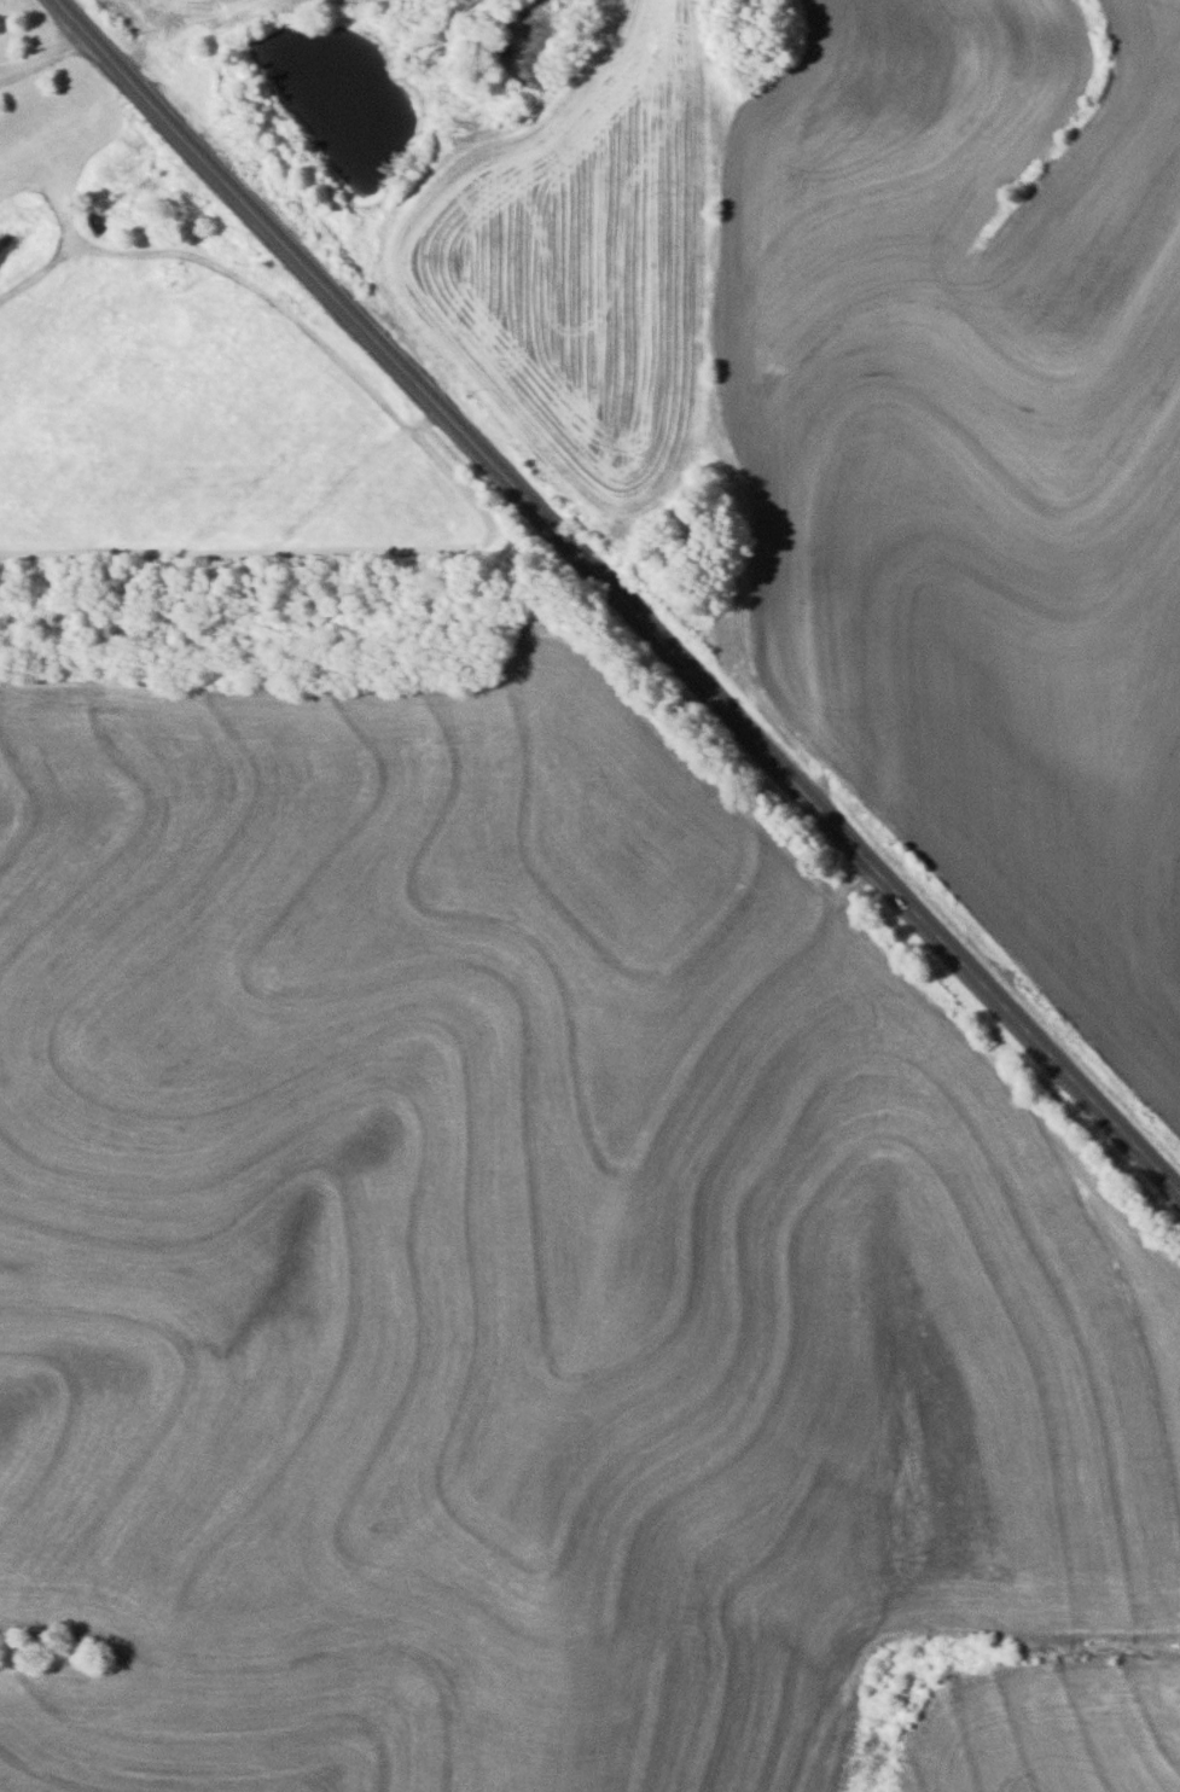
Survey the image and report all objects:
crop: (168, 19)
road: (45, 50)
crop: (572, 275)
road: (615, 597)

